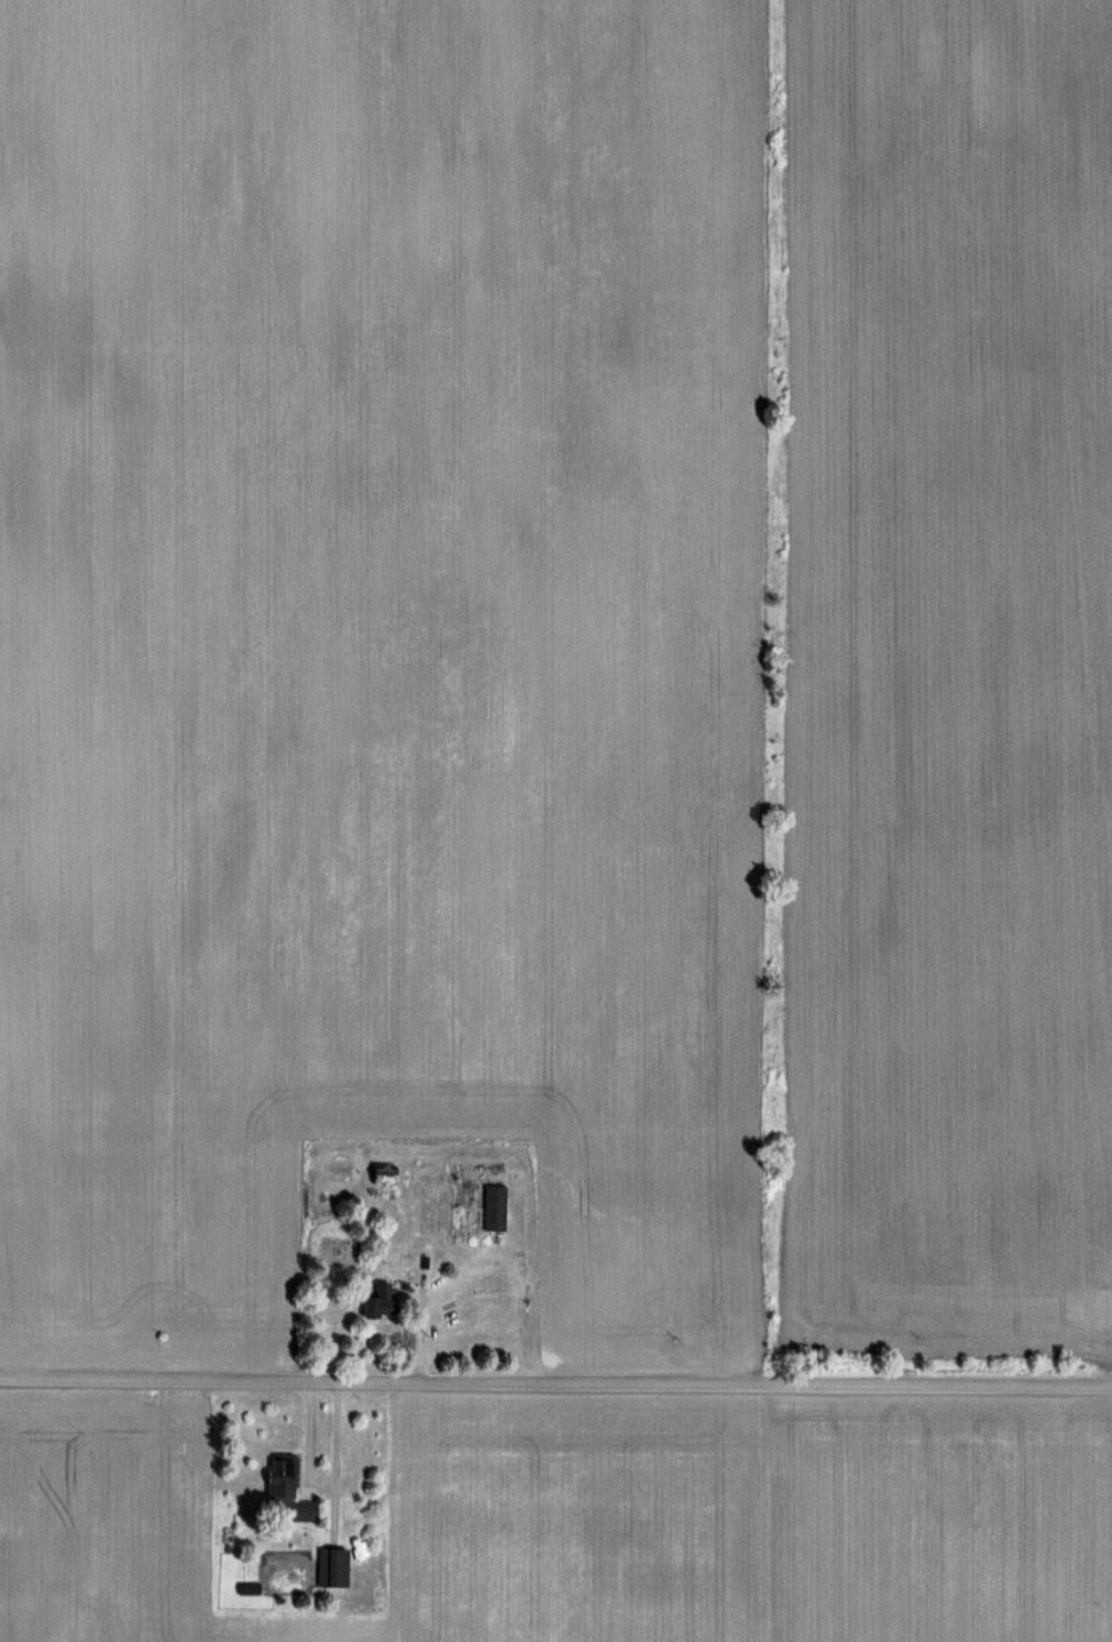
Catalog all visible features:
building: (384, 1171)
building: (494, 1206)
building: (378, 1300)
road: (555, 1380)
road: (307, 1440)
road: (334, 1457)
building: (286, 1488)
building: (331, 1566)

